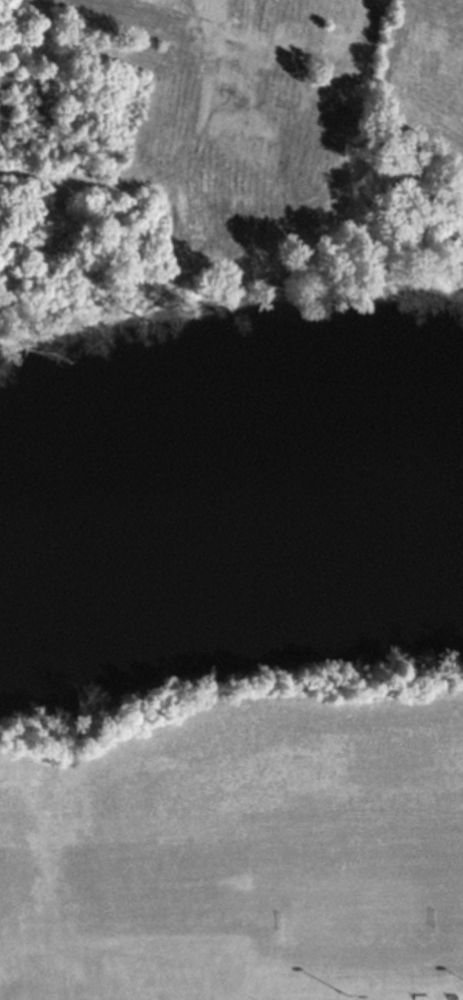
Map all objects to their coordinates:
road: (461, 0)
building: (169, 2)
building: (315, 8)
building: (255, 12)
road: (361, 16)
road: (290, 40)
building: (434, 77)
building: (341, 80)
building: (318, 147)
road: (174, 160)
river: (231, 488)
park: (239, 840)

